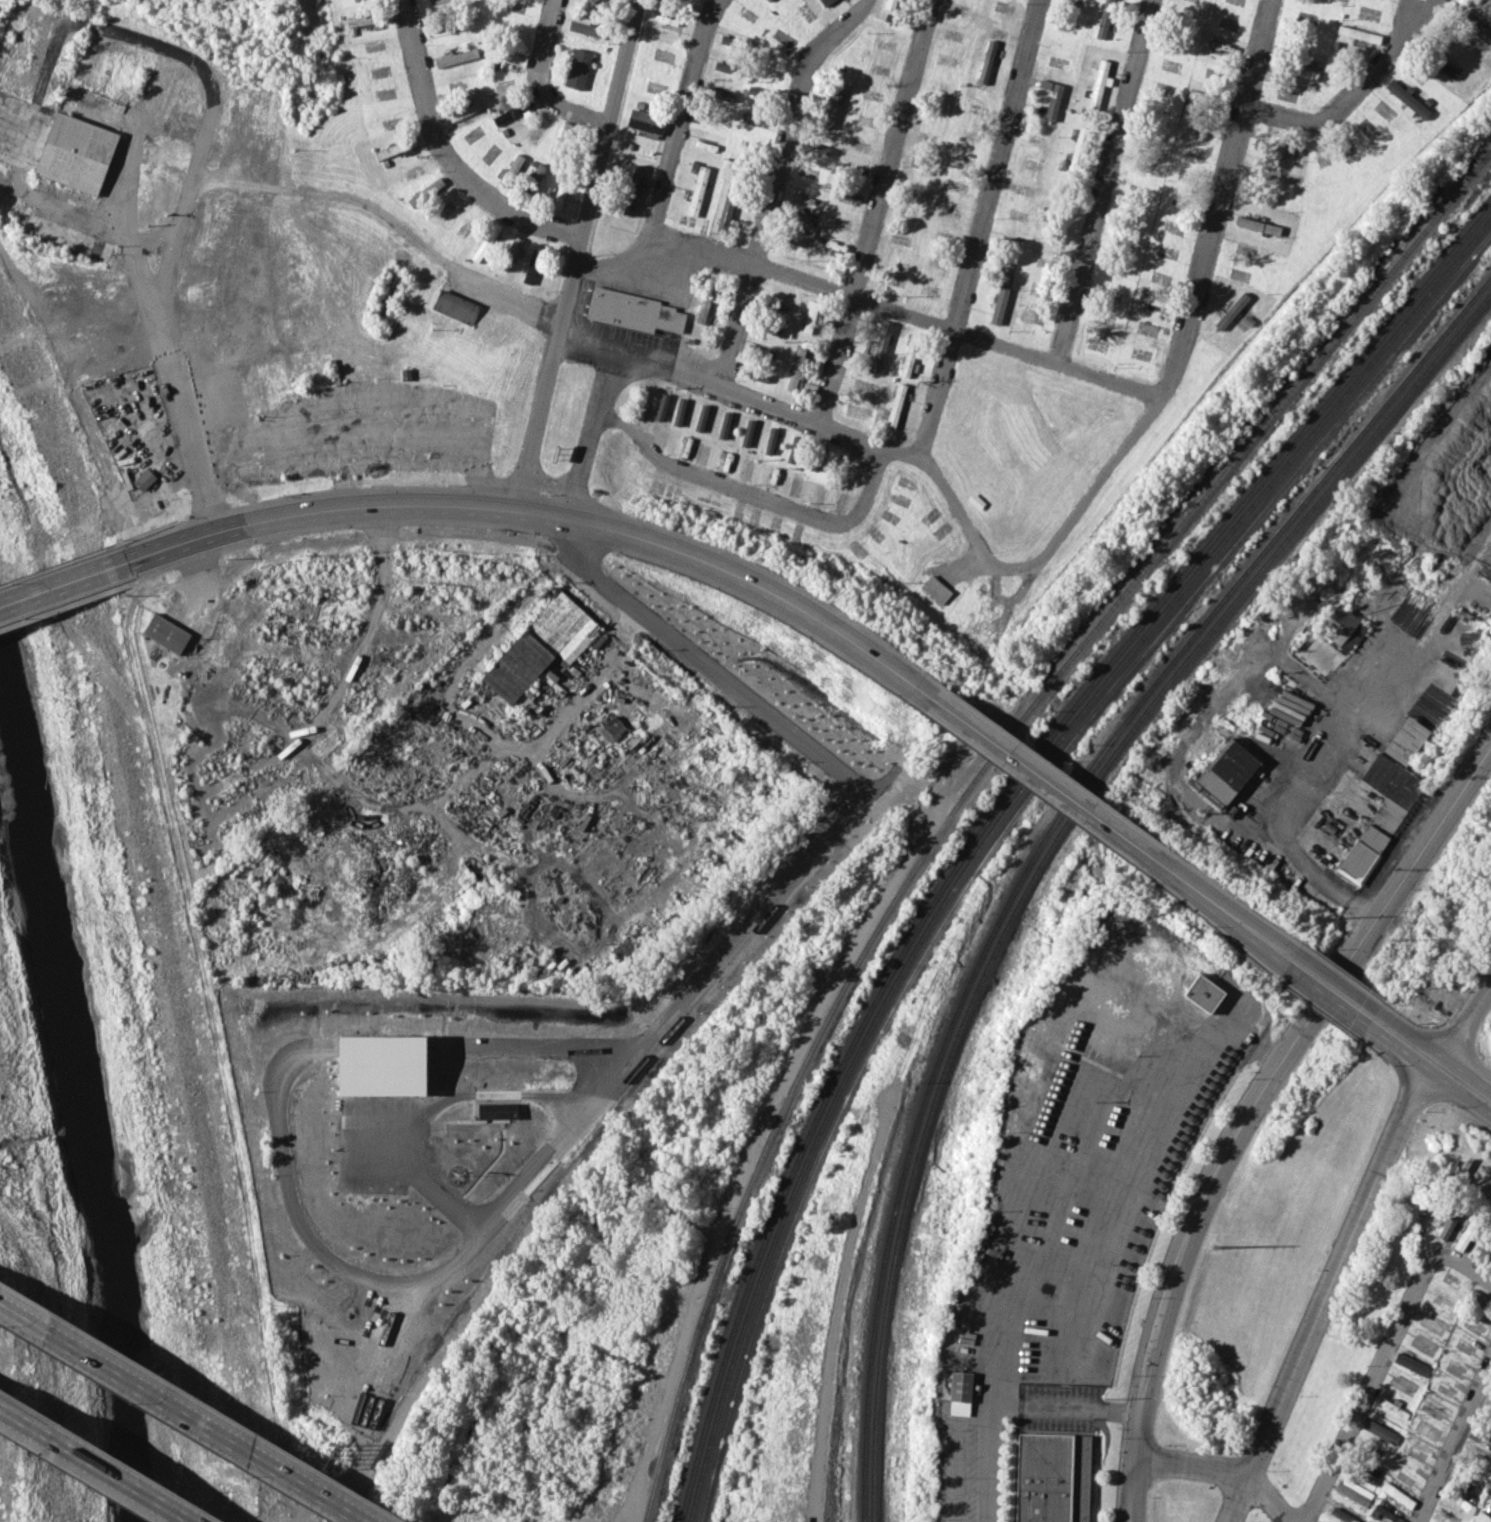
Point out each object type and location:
building: (767, 0)
building: (825, 2)
building: (889, 4)
building: (1104, 18)
building: (360, 19)
road: (1401, 22)
building: (584, 26)
building: (1474, 26)
building: (1358, 34)
building: (504, 55)
building: (455, 57)
building: (986, 61)
building: (1442, 63)
building: (722, 66)
building: (577, 68)
building: (1099, 82)
road: (540, 83)
road: (1355, 91)
building: (722, 94)
building: (1051, 97)
building: (1407, 98)
building: (831, 107)
building: (511, 111)
building: (462, 112)
building: (751, 115)
building: (644, 122)
road: (679, 124)
building: (82, 138)
building: (1274, 146)
road: (446, 155)
road: (599, 161)
building: (511, 169)
building: (535, 178)
road: (1102, 181)
road: (775, 183)
building: (631, 189)
road: (188, 190)
building: (697, 190)
building: (425, 192)
road: (24, 194)
building: (66, 195)
road: (341, 195)
building: (559, 196)
building: (726, 208)
road: (874, 210)
building: (1257, 225)
road: (980, 226)
building: (798, 228)
road: (126, 229)
building: (67, 237)
road: (154, 238)
building: (485, 241)
building: (510, 253)
road: (610, 262)
building: (532, 263)
building: (1034, 288)
building: (1000, 298)
building: (1151, 300)
road: (513, 301)
building: (450, 304)
building: (702, 309)
building: (1232, 310)
building: (634, 311)
building: (809, 316)
road: (913, 316)
road: (590, 337)
road: (1182, 342)
building: (879, 346)
building: (909, 354)
building: (794, 369)
building: (756, 375)
road: (768, 403)
building: (895, 405)
building: (660, 406)
building: (678, 411)
road: (82, 415)
road: (537, 417)
building: (700, 417)
building: (723, 424)
road: (373, 432)
building: (747, 432)
road: (591, 434)
building: (770, 440)
building: (794, 450)
building: (727, 461)
building: (744, 467)
road: (698, 475)
building: (143, 479)
road: (861, 505)
road: (956, 506)
road: (529, 513)
road: (199, 574)
building: (935, 588)
road: (57, 589)
road: (55, 599)
building: (1343, 627)
building: (166, 632)
building: (540, 646)
road: (236, 666)
road: (596, 675)
road: (342, 678)
road: (732, 685)
building: (610, 729)
road: (1338, 733)
building: (1405, 740)
building: (1226, 770)
road: (1033, 771)
railway: (973, 781)
railway: (994, 810)
building: (1379, 814)
railway: (1000, 817)
railway: (1005, 825)
railway: (1043, 836)
railway: (1051, 846)
road: (1207, 898)
power tower: (1393, 938)
road: (1279, 945)
road: (1273, 953)
road: (197, 954)
road: (702, 976)
road: (1337, 981)
building: (1203, 993)
road: (1325, 998)
road: (1465, 1017)
building: (374, 1051)
road: (1435, 1051)
road: (1428, 1072)
river: (77, 1092)
road: (1250, 1108)
road: (759, 1134)
road: (1054, 1211)
building: (1445, 1223)
power tower: (1215, 1247)
road: (1461, 1266)
road: (1338, 1275)
building: (1476, 1298)
road: (831, 1338)
building: (1410, 1364)
road: (1366, 1385)
building: (959, 1393)
road: (1047, 1409)
road: (187, 1411)
building: (1379, 1430)
road: (1448, 1435)
building: (1486, 1435)
building: (1477, 1457)
road: (95, 1465)
road: (1191, 1468)
road: (956, 1471)
building: (1366, 1473)
building: (1051, 1477)
building: (1353, 1491)
building: (1396, 1494)
road: (1238, 1500)
road: (1270, 1500)
building: (1457, 1501)
building: (1382, 1514)
building: (1481, 1517)
building: (1442, 1518)

